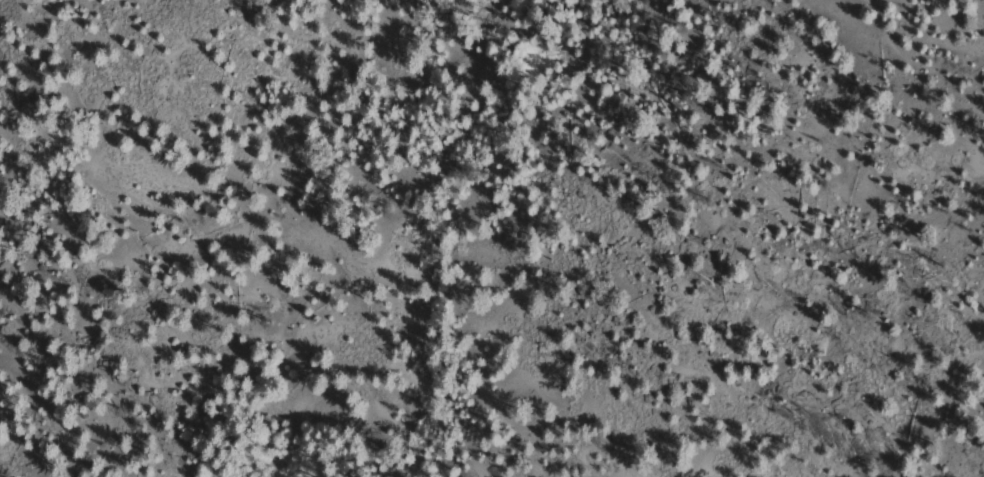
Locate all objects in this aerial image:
road: (952, 18)

